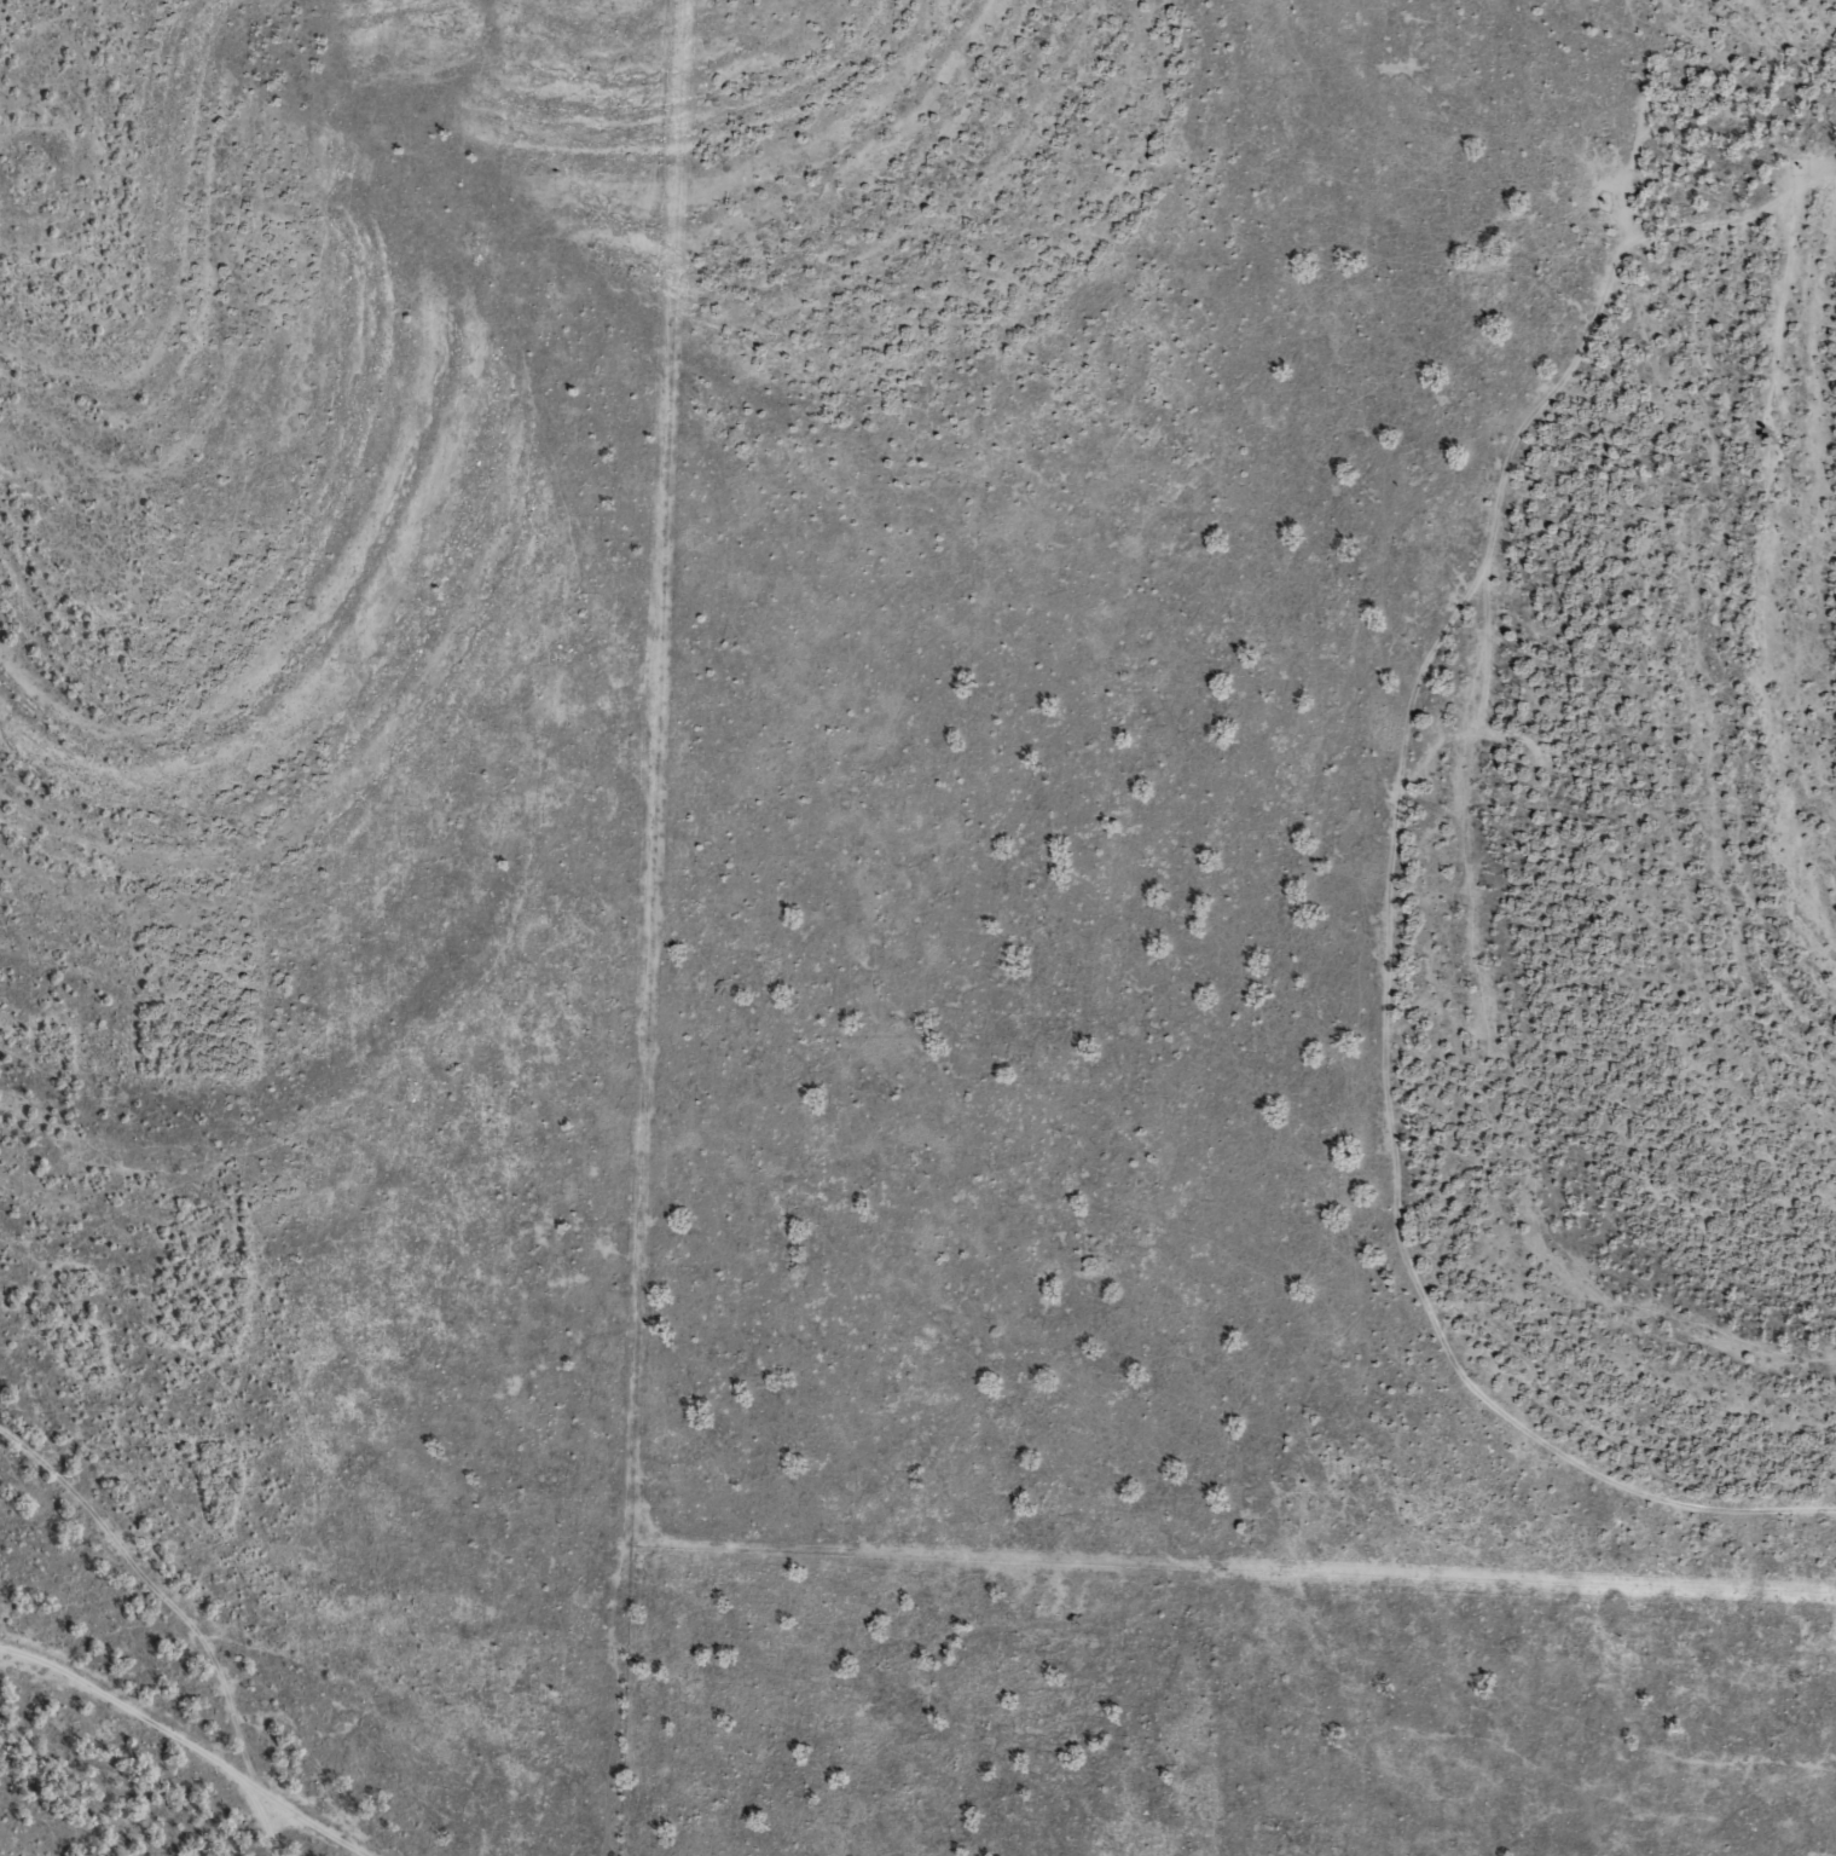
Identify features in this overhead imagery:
road: (167, 1733)
road: (359, 1844)

